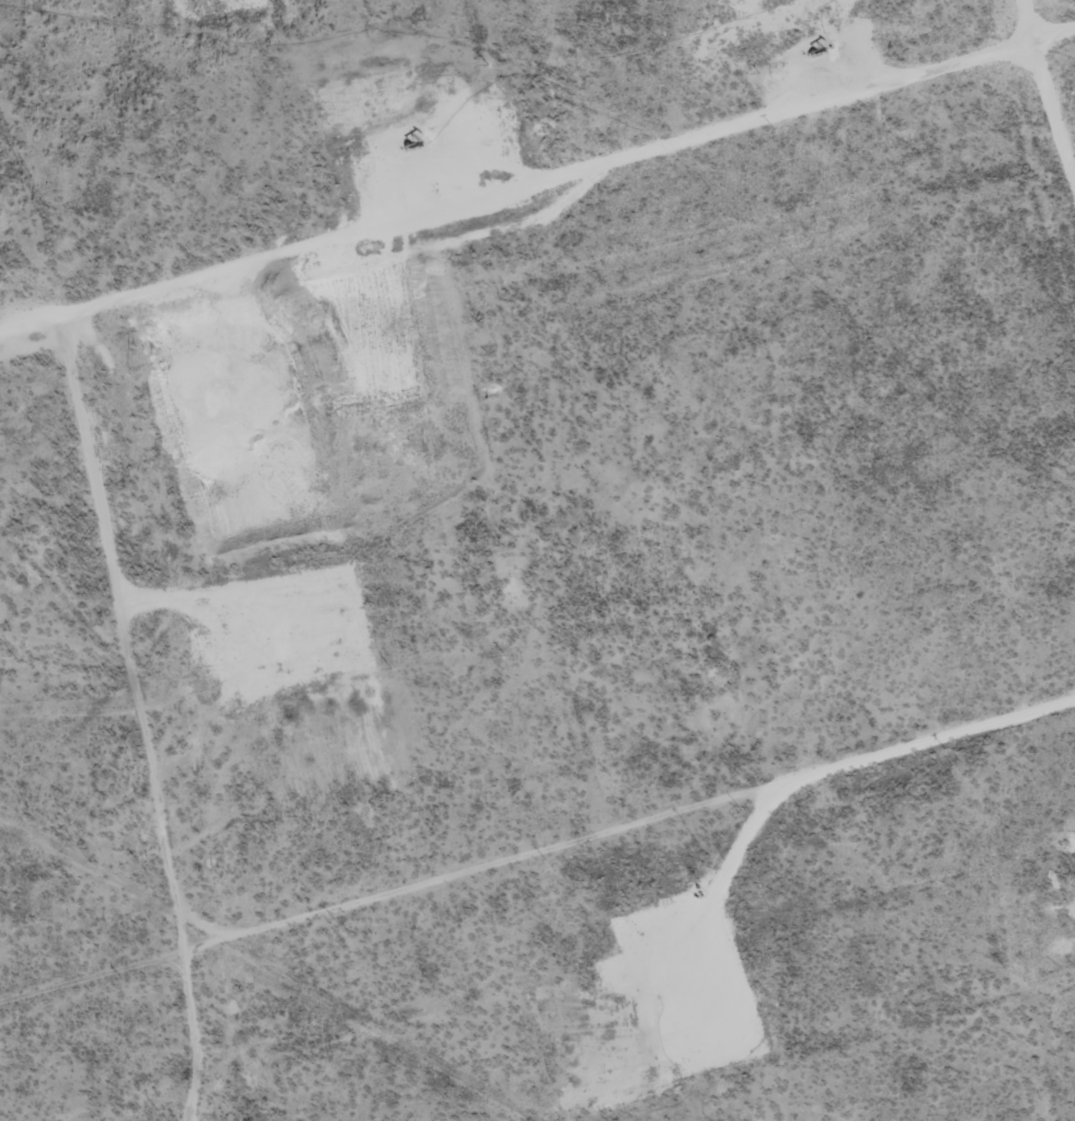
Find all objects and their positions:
road: (537, 222)
road: (1010, 235)

